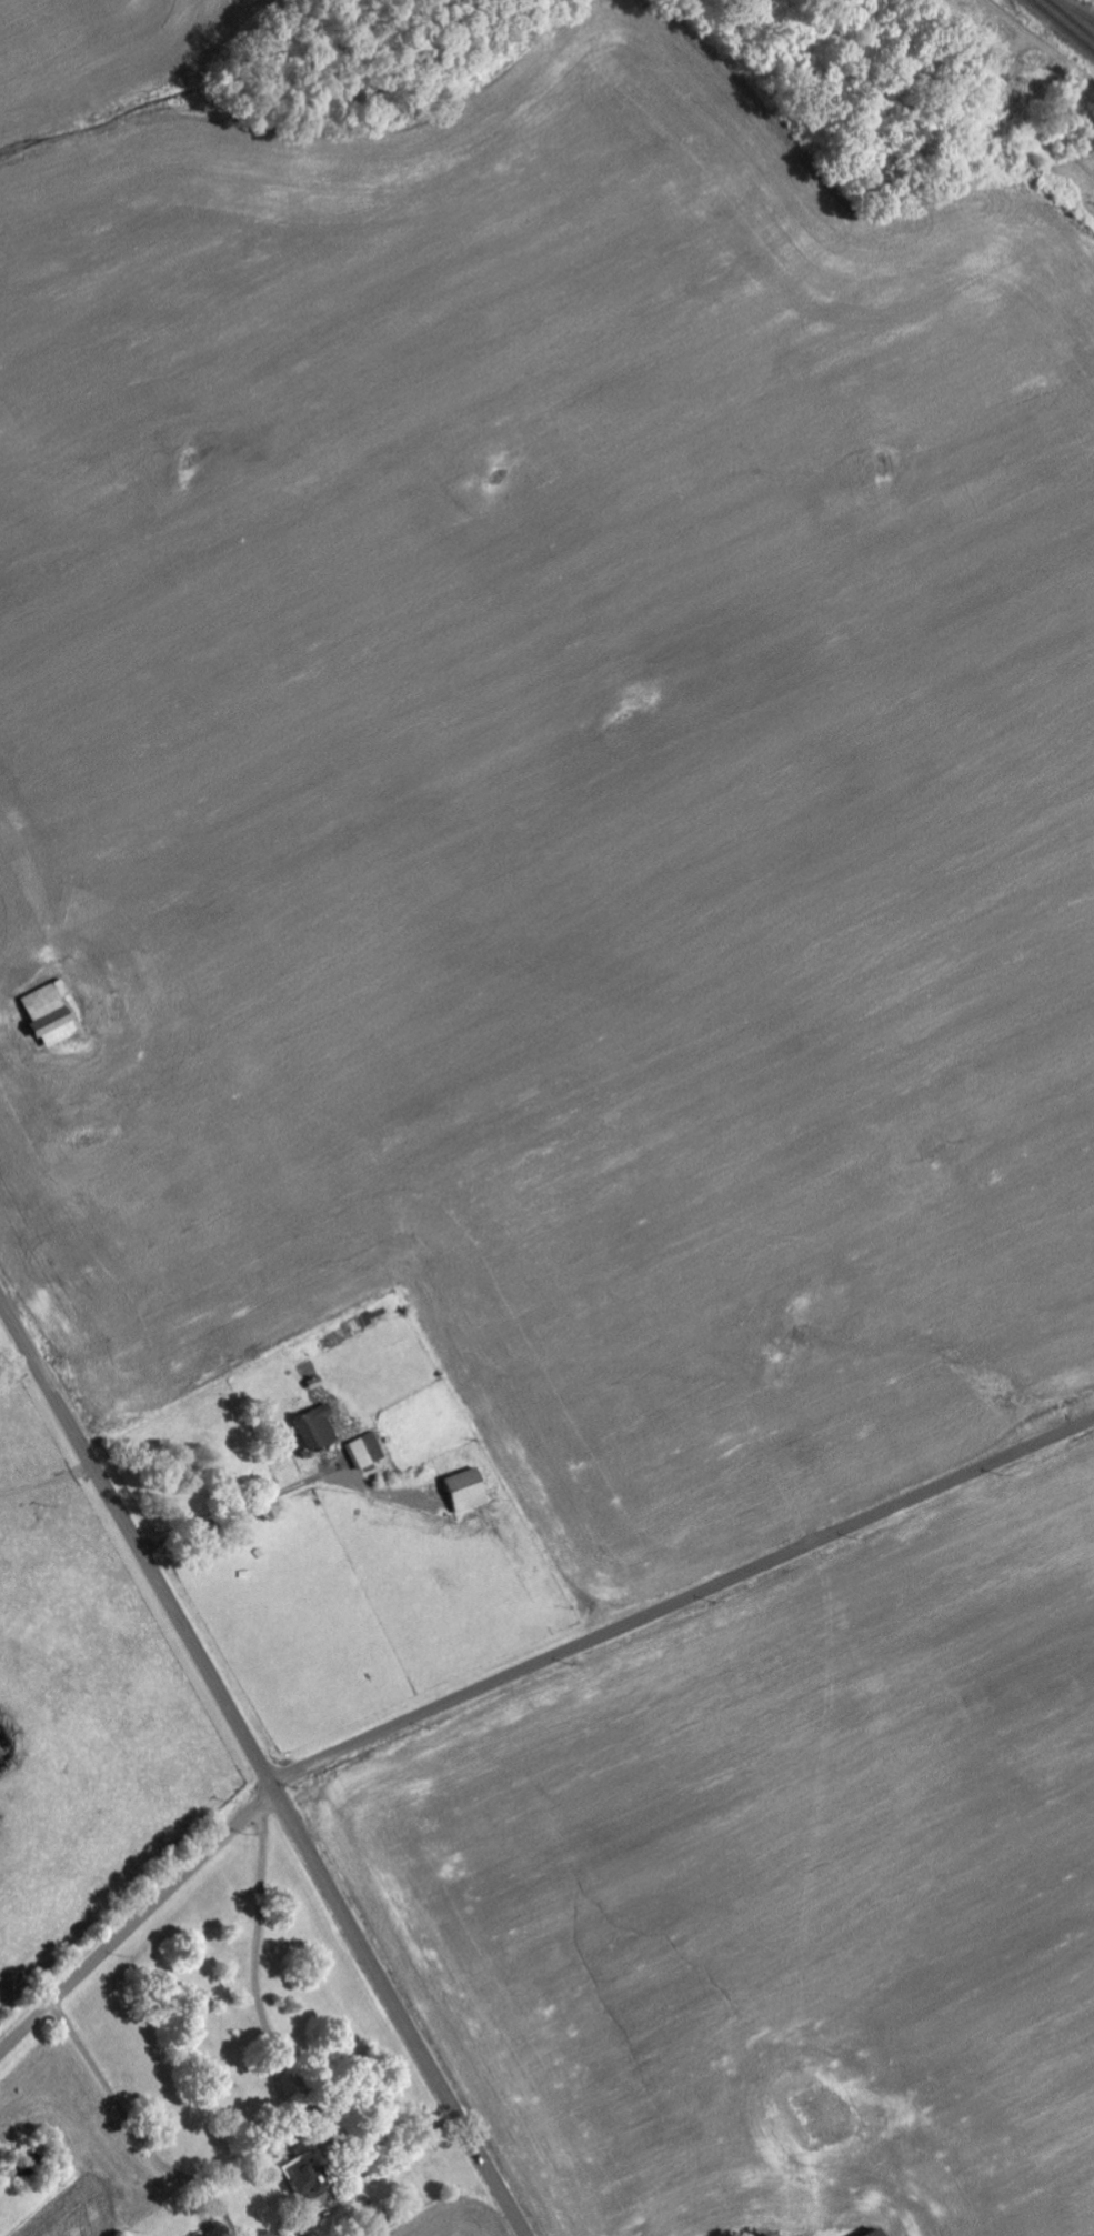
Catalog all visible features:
railway: (1077, 10)
railway: (1070, 19)
railway: (1061, 27)
road: (1090, 82)
building: (1088, 137)
building: (49, 1014)
building: (317, 1427)
building: (364, 1452)
building: (466, 1492)
road: (681, 1601)
road: (262, 1767)
road: (137, 1922)
road: (254, 1974)
road: (113, 2099)
building: (308, 2182)
building: (215, 2234)
building: (876, 2234)

